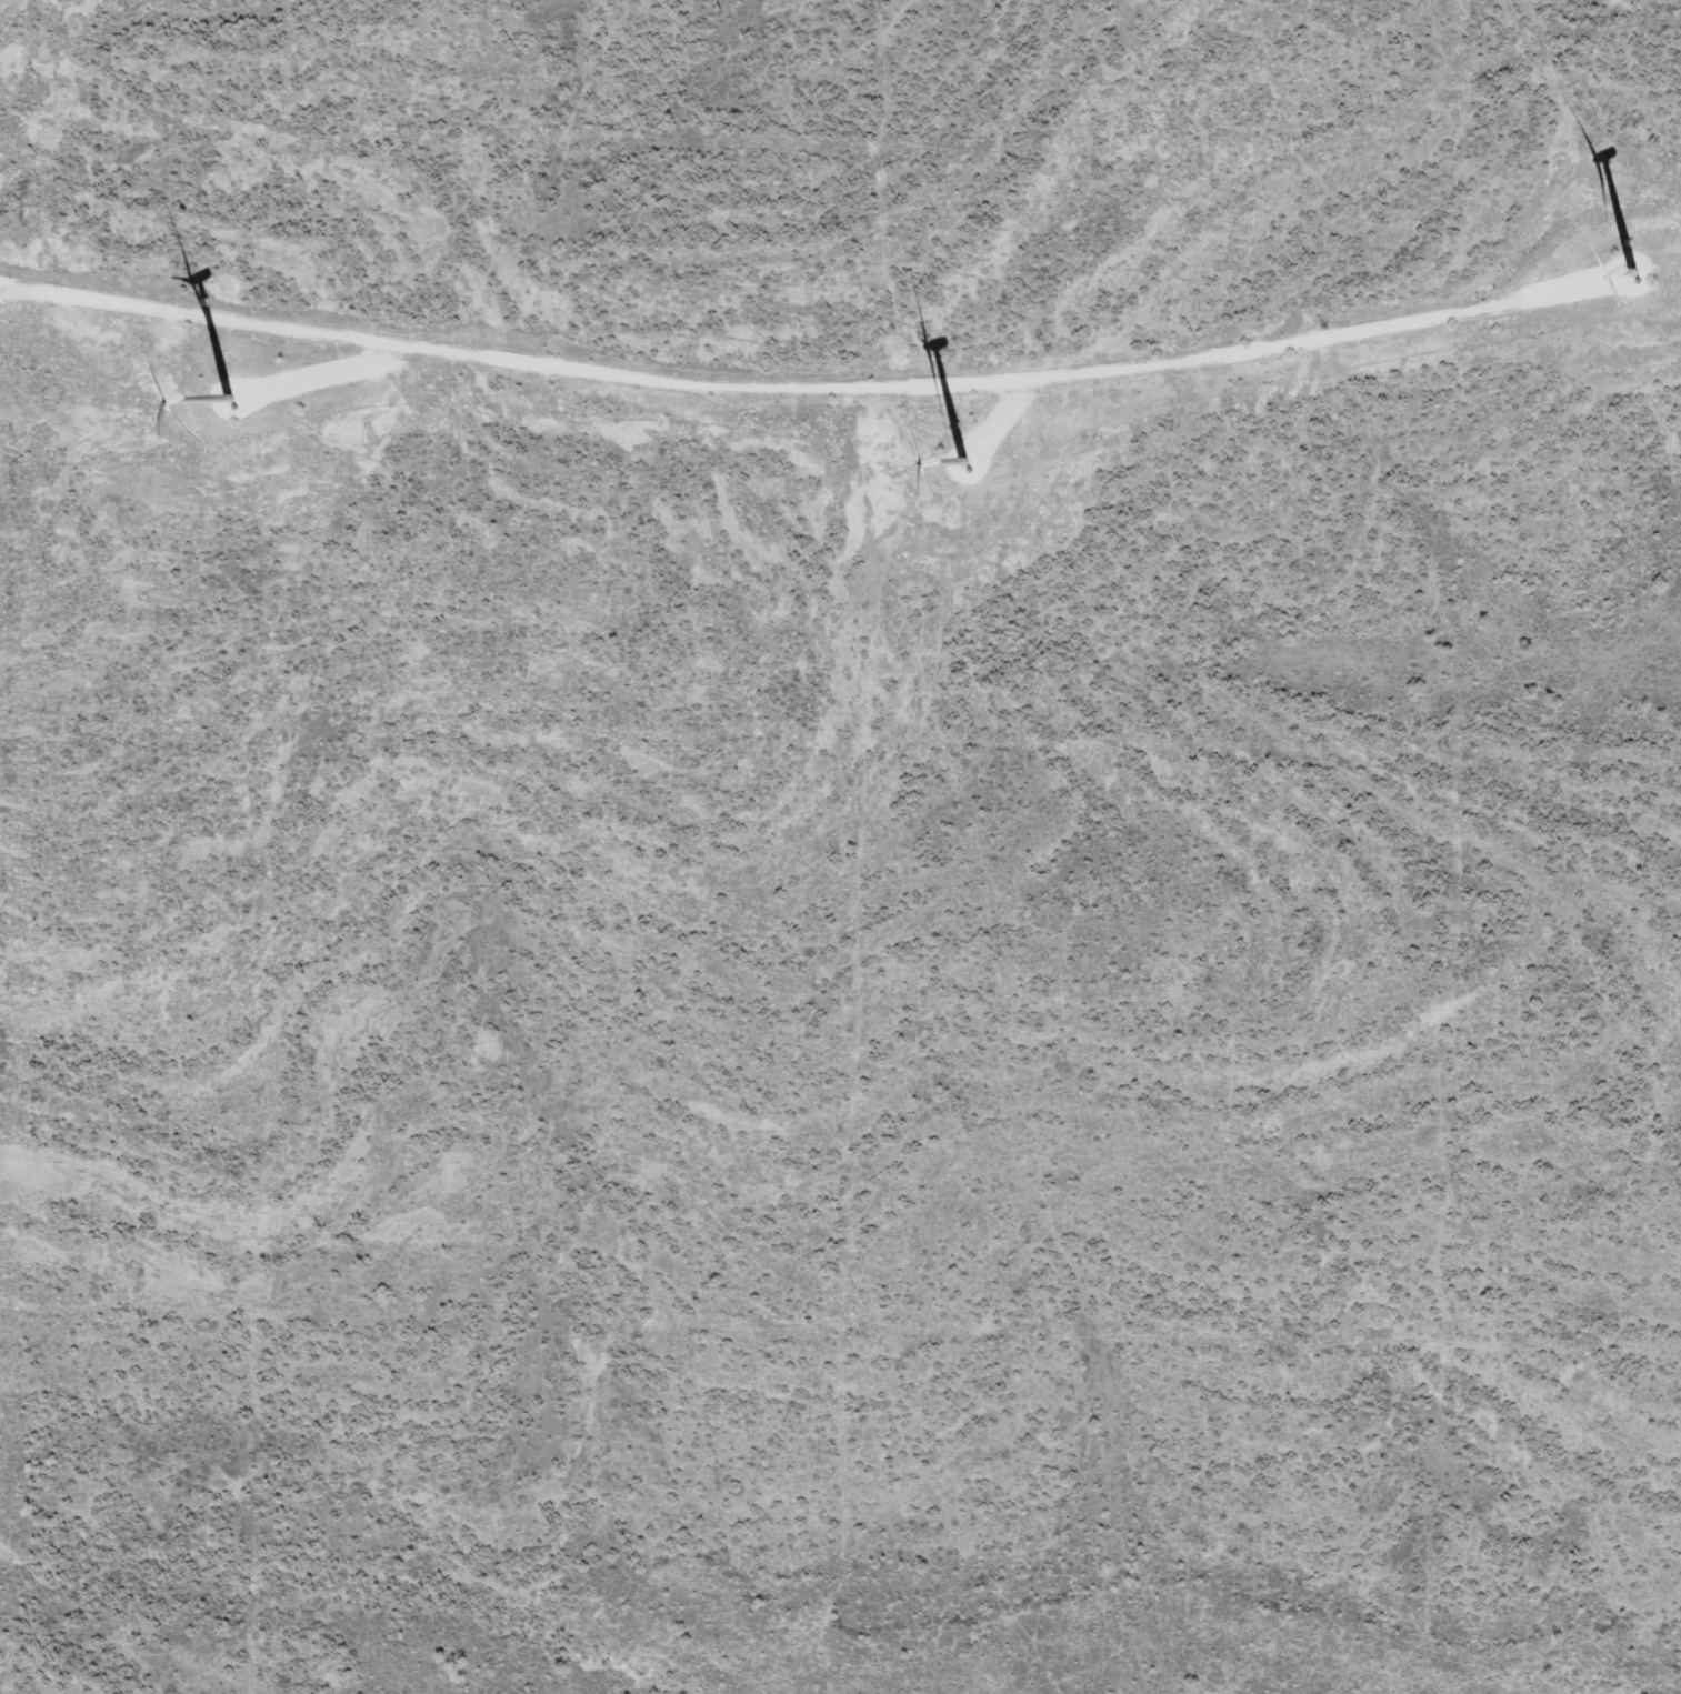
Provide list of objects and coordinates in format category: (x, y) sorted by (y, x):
wind turbine: (1627, 275)
road: (798, 388)
wind turbine: (218, 404)
wind turbine: (962, 459)

